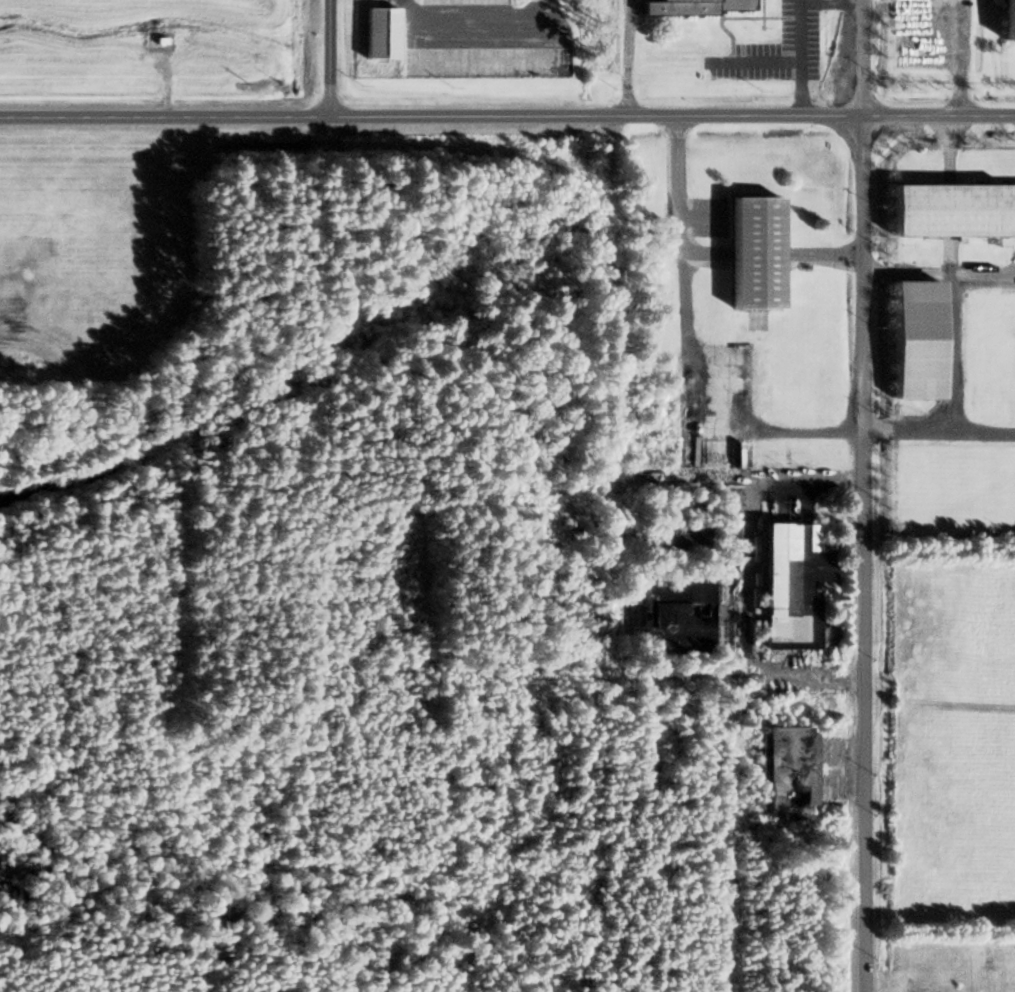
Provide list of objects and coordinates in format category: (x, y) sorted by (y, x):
building: (688, 7)
building: (1008, 20)
road: (477, 25)
building: (377, 33)
airport: (160, 40)
road: (951, 54)
road: (861, 56)
road: (802, 57)
road: (330, 58)
road: (627, 58)
road: (762, 63)
road: (938, 113)
road: (431, 116)
building: (951, 208)
building: (753, 251)
road: (938, 274)
building: (913, 338)
road: (685, 348)
road: (945, 353)
road: (613, 397)
road: (938, 431)
road: (738, 479)
building: (681, 537)
road: (862, 553)
building: (791, 583)
building: (672, 615)
road: (739, 683)
building: (786, 772)

